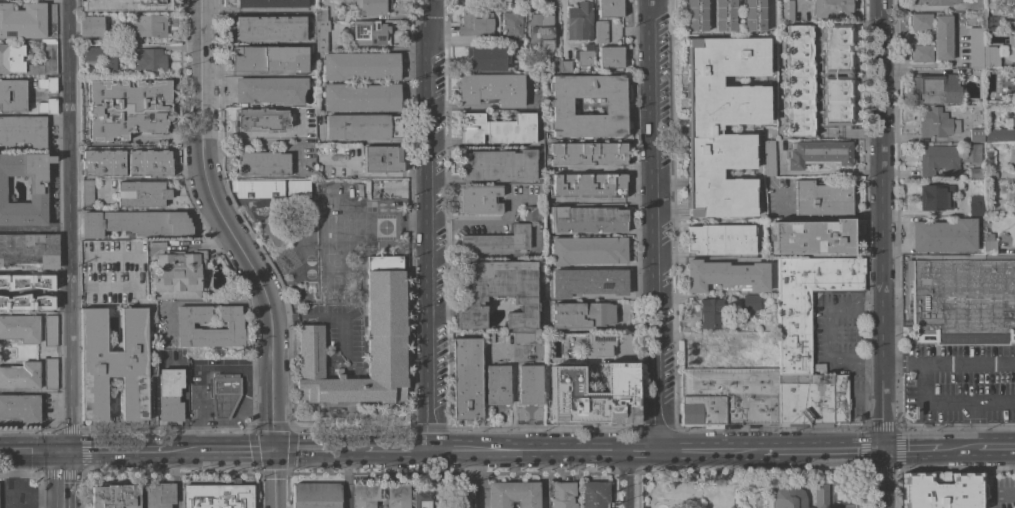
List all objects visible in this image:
building: (937, 2)
building: (271, 3)
building: (126, 5)
building: (976, 5)
building: (371, 6)
building: (609, 8)
building: (830, 8)
building: (787, 10)
building: (321, 14)
building: (753, 14)
building: (696, 15)
building: (724, 15)
building: (27, 19)
building: (475, 21)
building: (580, 21)
building: (921, 21)
building: (512, 22)
building: (990, 23)
building: (91, 26)
building: (144, 27)
building: (270, 27)
building: (541, 30)
building: (601, 31)
building: (369, 32)
building: (311, 35)
building: (321, 35)
building: (943, 37)
building: (981, 50)
building: (921, 52)
building: (585, 55)
building: (610, 56)
building: (10, 58)
building: (269, 58)
building: (485, 58)
building: (149, 59)
building: (92, 62)
building: (555, 64)
building: (360, 65)
building: (566, 66)
building: (1011, 72)
building: (832, 74)
building: (797, 81)
building: (44, 83)
building: (492, 88)
building: (935, 88)
building: (1014, 88)
building: (271, 89)
building: (13, 95)
building: (360, 97)
building: (992, 102)
building: (614, 105)
building: (43, 106)
building: (127, 108)
building: (1014, 116)
building: (262, 118)
building: (537, 120)
building: (937, 123)
building: (723, 124)
building: (362, 126)
building: (497, 128)
building: (23, 130)
road: (850, 130)
road: (260, 133)
building: (999, 134)
building: (976, 135)
road: (165, 136)
building: (970, 152)
building: (587, 153)
building: (819, 153)
building: (768, 154)
building: (1014, 155)
building: (989, 157)
building: (382, 158)
building: (938, 159)
building: (263, 163)
building: (149, 164)
building: (497, 165)
road: (830, 170)
building: (976, 172)
road: (899, 174)
road: (927, 174)
road: (949, 174)
building: (990, 174)
building: (587, 185)
building: (258, 188)
building: (298, 188)
building: (87, 192)
building: (38, 193)
building: (142, 193)
building: (1011, 194)
building: (935, 196)
building: (822, 198)
building: (479, 199)
building: (976, 205)
building: (532, 212)
road: (482, 219)
building: (586, 219)
building: (135, 223)
road: (34, 225)
road: (427, 225)
road: (656, 225)
road: (70, 226)
road: (228, 227)
building: (263, 230)
building: (944, 235)
building: (812, 236)
building: (720, 239)
building: (497, 241)
building: (989, 242)
road: (202, 246)
building: (29, 249)
building: (588, 250)
road: (881, 253)
building: (178, 274)
building: (725, 275)
building: (26, 281)
building: (588, 282)
building: (12, 289)
building: (497, 292)
building: (963, 299)
road: (197, 302)
building: (752, 302)
building: (43, 303)
building: (808, 303)
road: (857, 305)
building: (709, 312)
building: (582, 314)
road: (326, 317)
road: (686, 320)
building: (234, 325)
building: (20, 327)
building: (50, 330)
building: (384, 330)
road: (830, 335)
building: (490, 337)
building: (523, 337)
parking lot: (839, 340)
building: (599, 344)
building: (711, 350)
building: (560, 359)
road: (856, 361)
building: (114, 363)
road: (948, 364)
road: (196, 371)
building: (842, 372)
building: (50, 373)
building: (20, 376)
building: (466, 379)
parking lot: (959, 383)
building: (497, 384)
road: (922, 384)
building: (530, 385)
building: (170, 394)
building: (224, 394)
building: (594, 395)
road: (868, 396)
building: (728, 397)
building: (840, 397)
road: (513, 398)
building: (793, 399)
building: (820, 400)
road: (971, 401)
building: (20, 407)
road: (974, 424)
road: (769, 430)
road: (996, 447)
road: (912, 448)
road: (960, 448)
road: (823, 449)
traffic signals: (883, 449)
road: (6, 450)
road: (235, 450)
traffic signals: (272, 450)
road: (518, 450)
road: (38, 451)
road: (113, 451)
road: (182, 451)
traffic signals: (63, 452)
road: (62, 476)
road: (482, 478)
road: (543, 478)
road: (176, 479)
road: (272, 479)
road: (624, 479)
building: (939, 491)
building: (364, 493)
building: (513, 494)
building: (594, 494)
building: (159, 495)
building: (316, 495)
building: (563, 495)
road: (7, 496)
building: (115, 496)
building: (217, 496)
building: (799, 496)
parking lot: (842, 496)
road: (14, 498)
building: (424, 498)
building: (462, 498)
road: (835, 502)
road: (61, 504)

